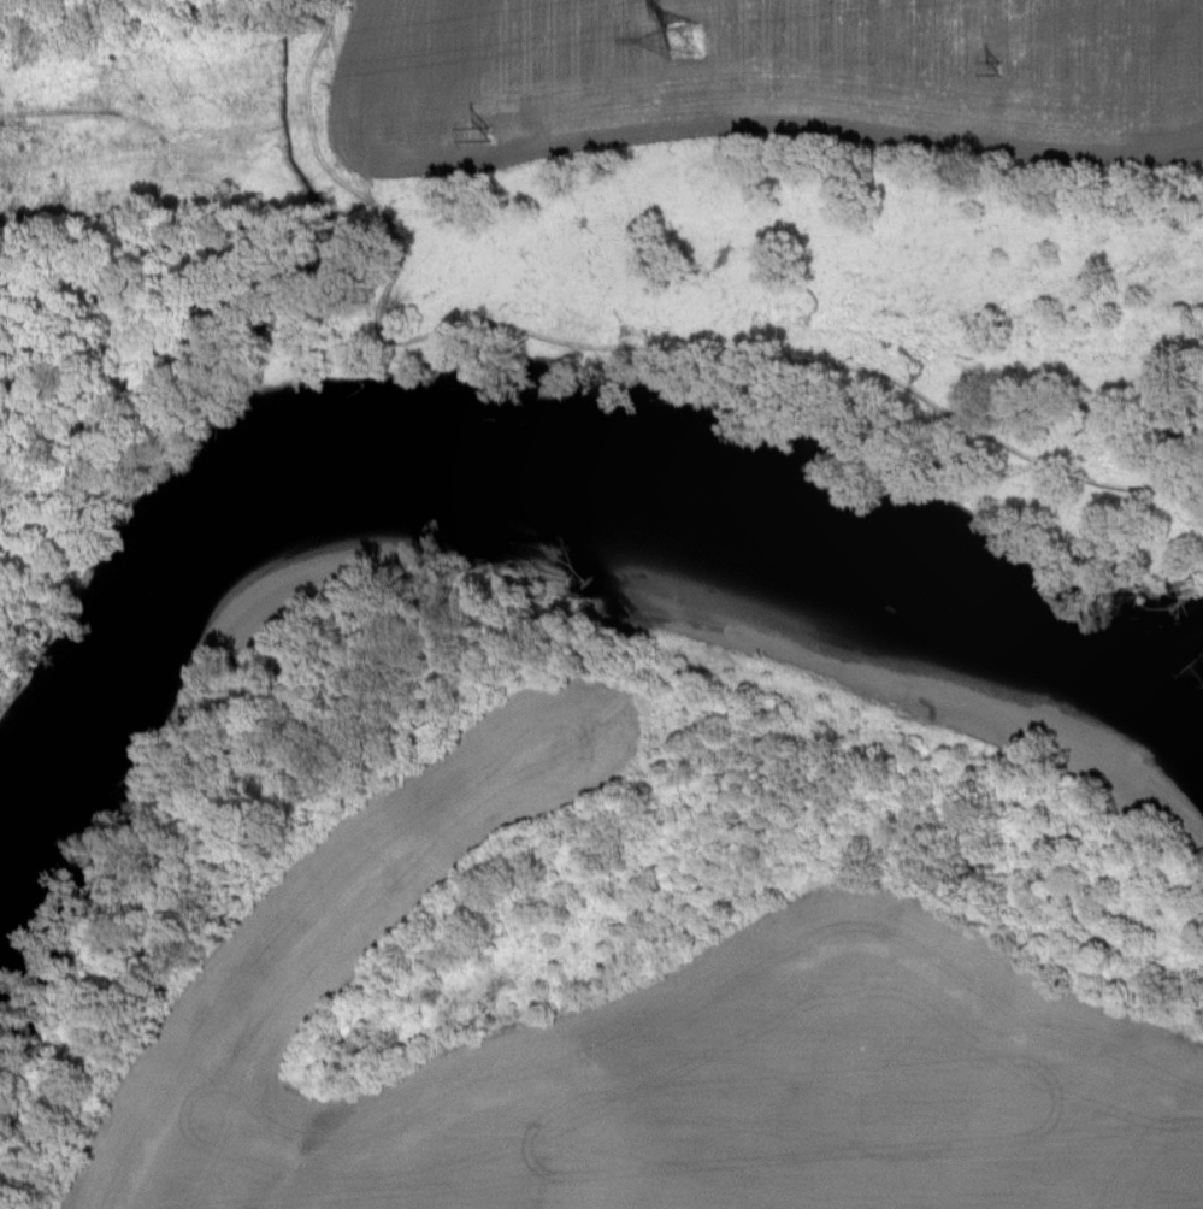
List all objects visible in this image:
power tower: (688, 42)
river: (529, 460)

